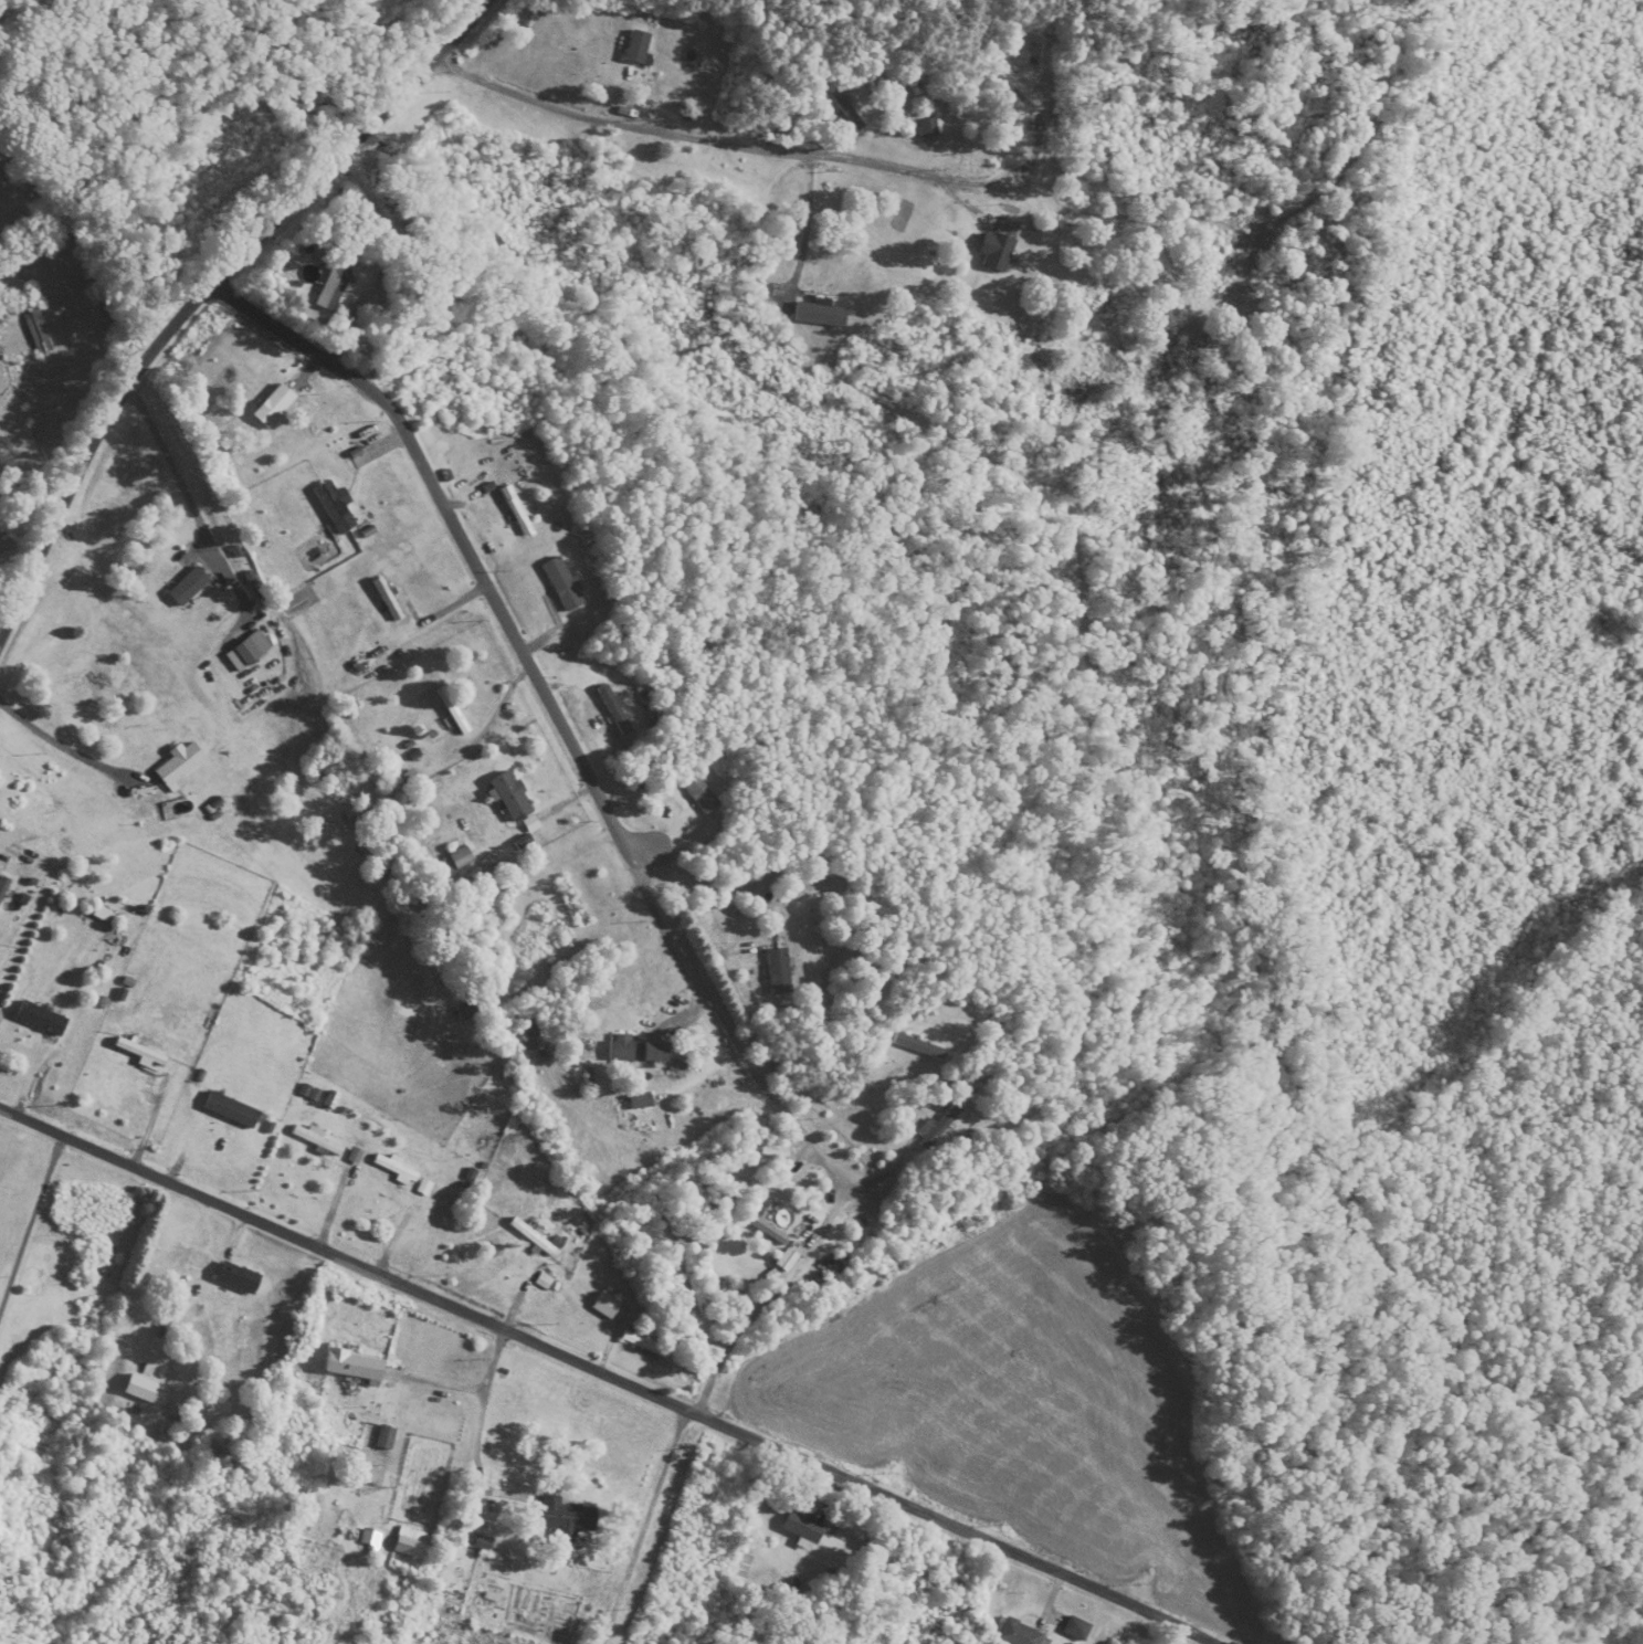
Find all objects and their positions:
building: (635, 48)
building: (844, 103)
building: (926, 128)
road: (704, 138)
building: (993, 251)
building: (328, 285)
road: (203, 292)
building: (8, 313)
building: (36, 333)
building: (1017, 394)
building: (271, 405)
road: (177, 474)
building: (335, 507)
building: (514, 510)
road: (475, 561)
building: (560, 584)
building: (181, 586)
building: (244, 652)
building: (612, 709)
building: (451, 710)
road: (70, 751)
building: (178, 762)
building: (508, 795)
building: (698, 795)
building: (454, 863)
road: (668, 866)
building: (4, 888)
building: (777, 971)
building: (622, 1050)
building: (138, 1052)
road: (741, 1058)
building: (229, 1110)
road: (750, 1114)
building: (934, 1130)
building: (316, 1140)
building: (393, 1169)
building: (417, 1221)
road: (32, 1225)
building: (765, 1231)
building: (784, 1261)
building: (235, 1278)
road: (767, 1298)
building: (605, 1307)
building: (638, 1342)
building: (350, 1367)
road: (615, 1373)
road: (483, 1408)
building: (385, 1440)
building: (564, 1519)
road: (644, 1525)
building: (800, 1527)
building: (370, 1540)
building: (411, 1543)
building: (987, 1579)
building: (1075, 1629)
building: (1019, 1634)

